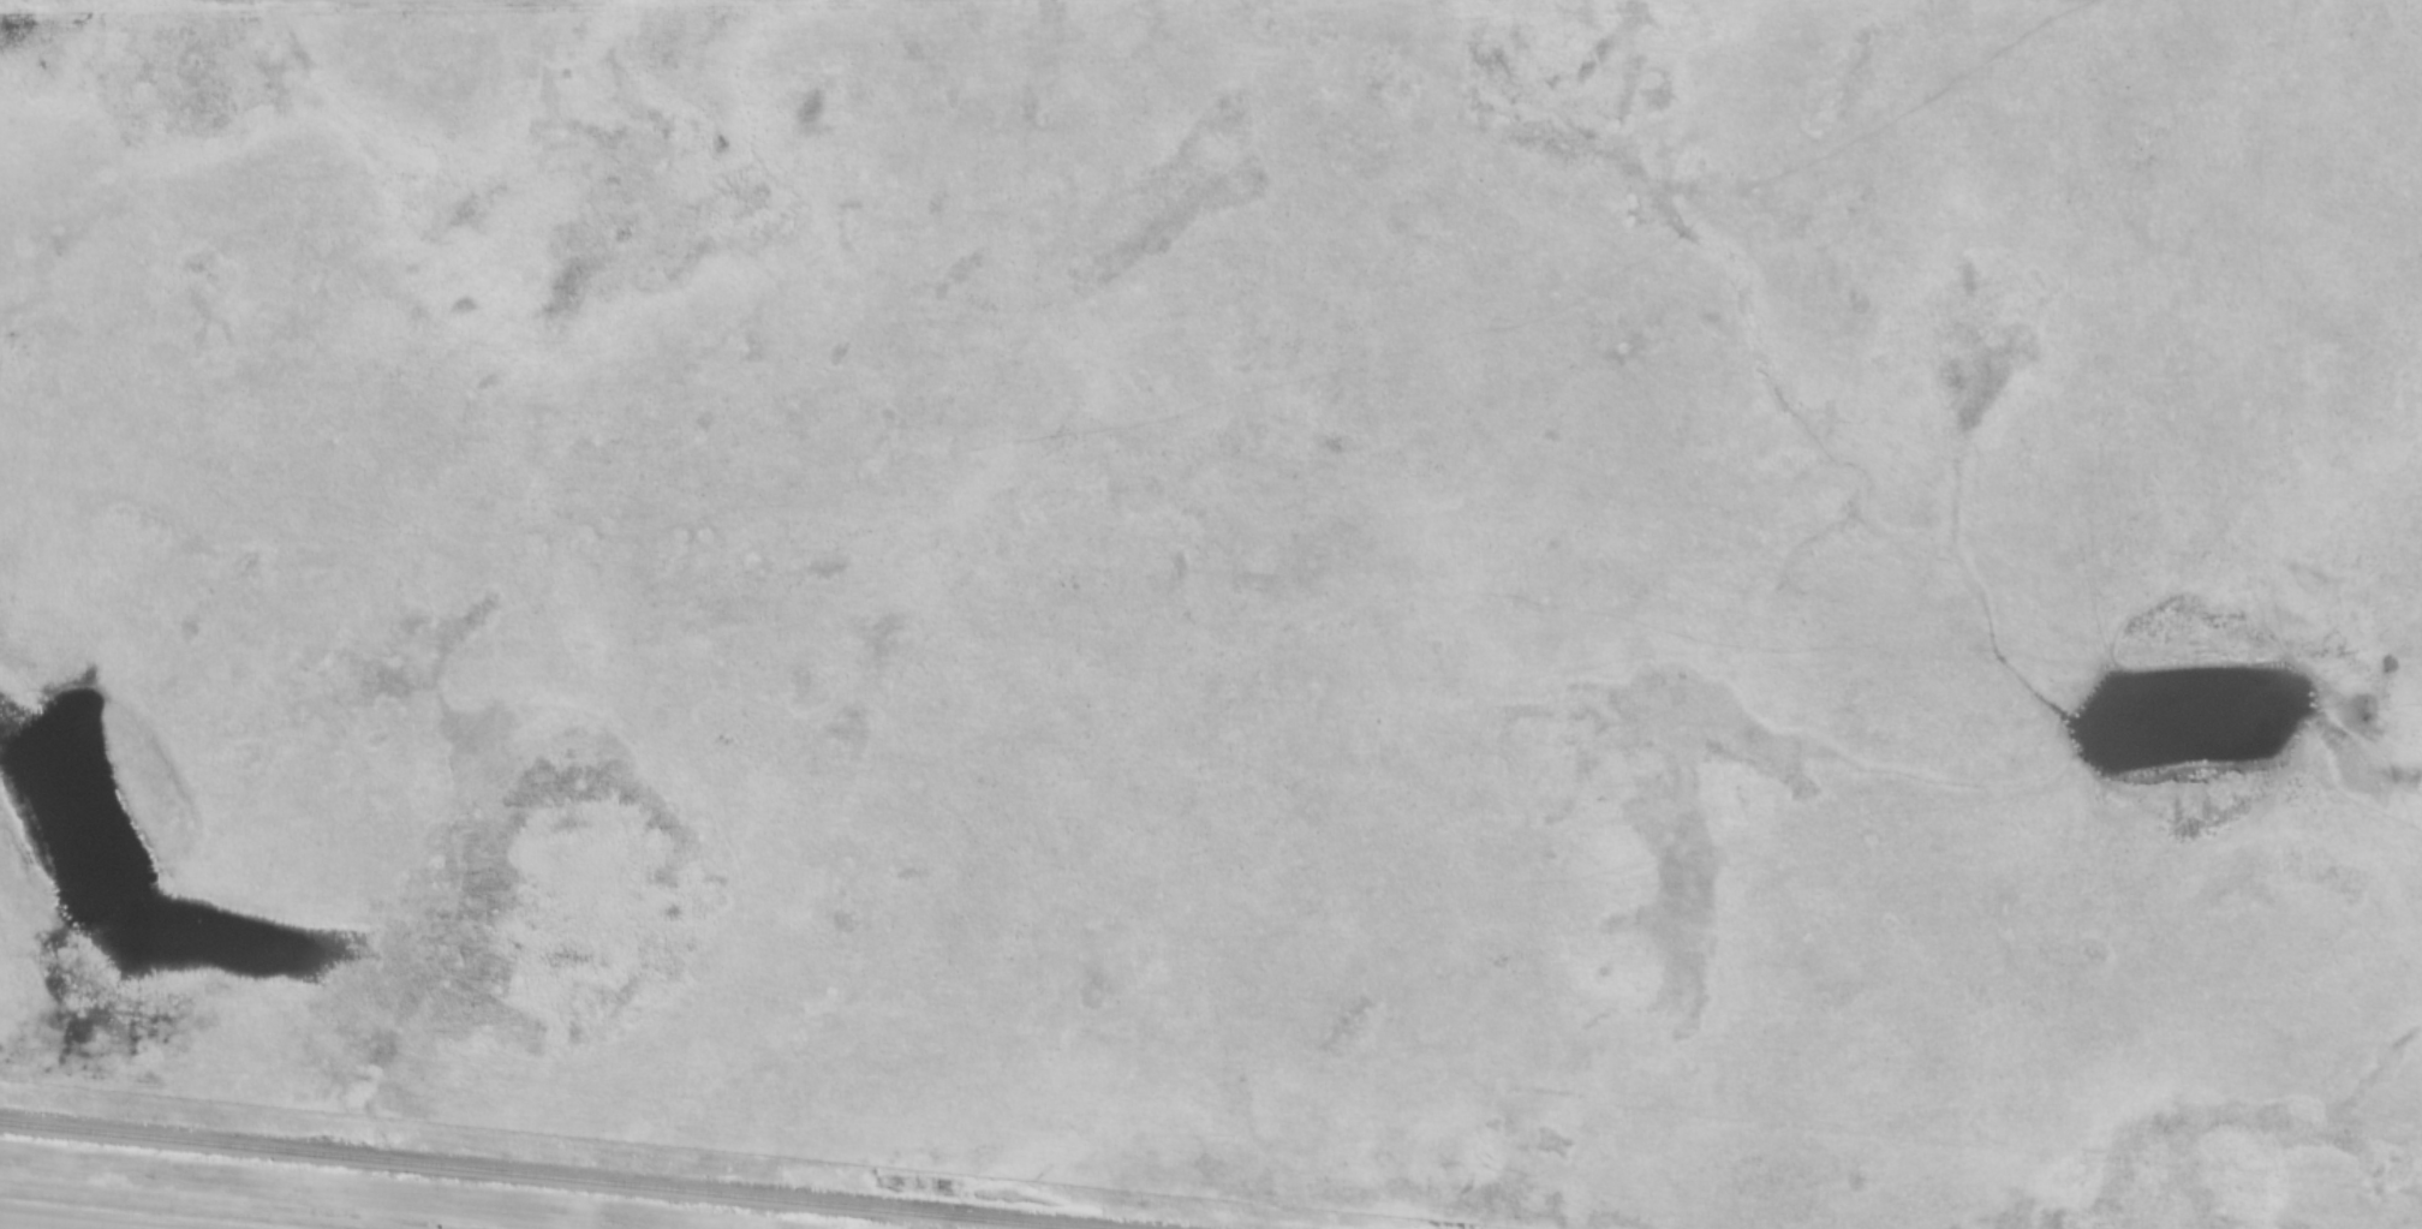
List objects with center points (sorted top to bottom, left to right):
railway: (535, 1175)
road: (62, 1222)

